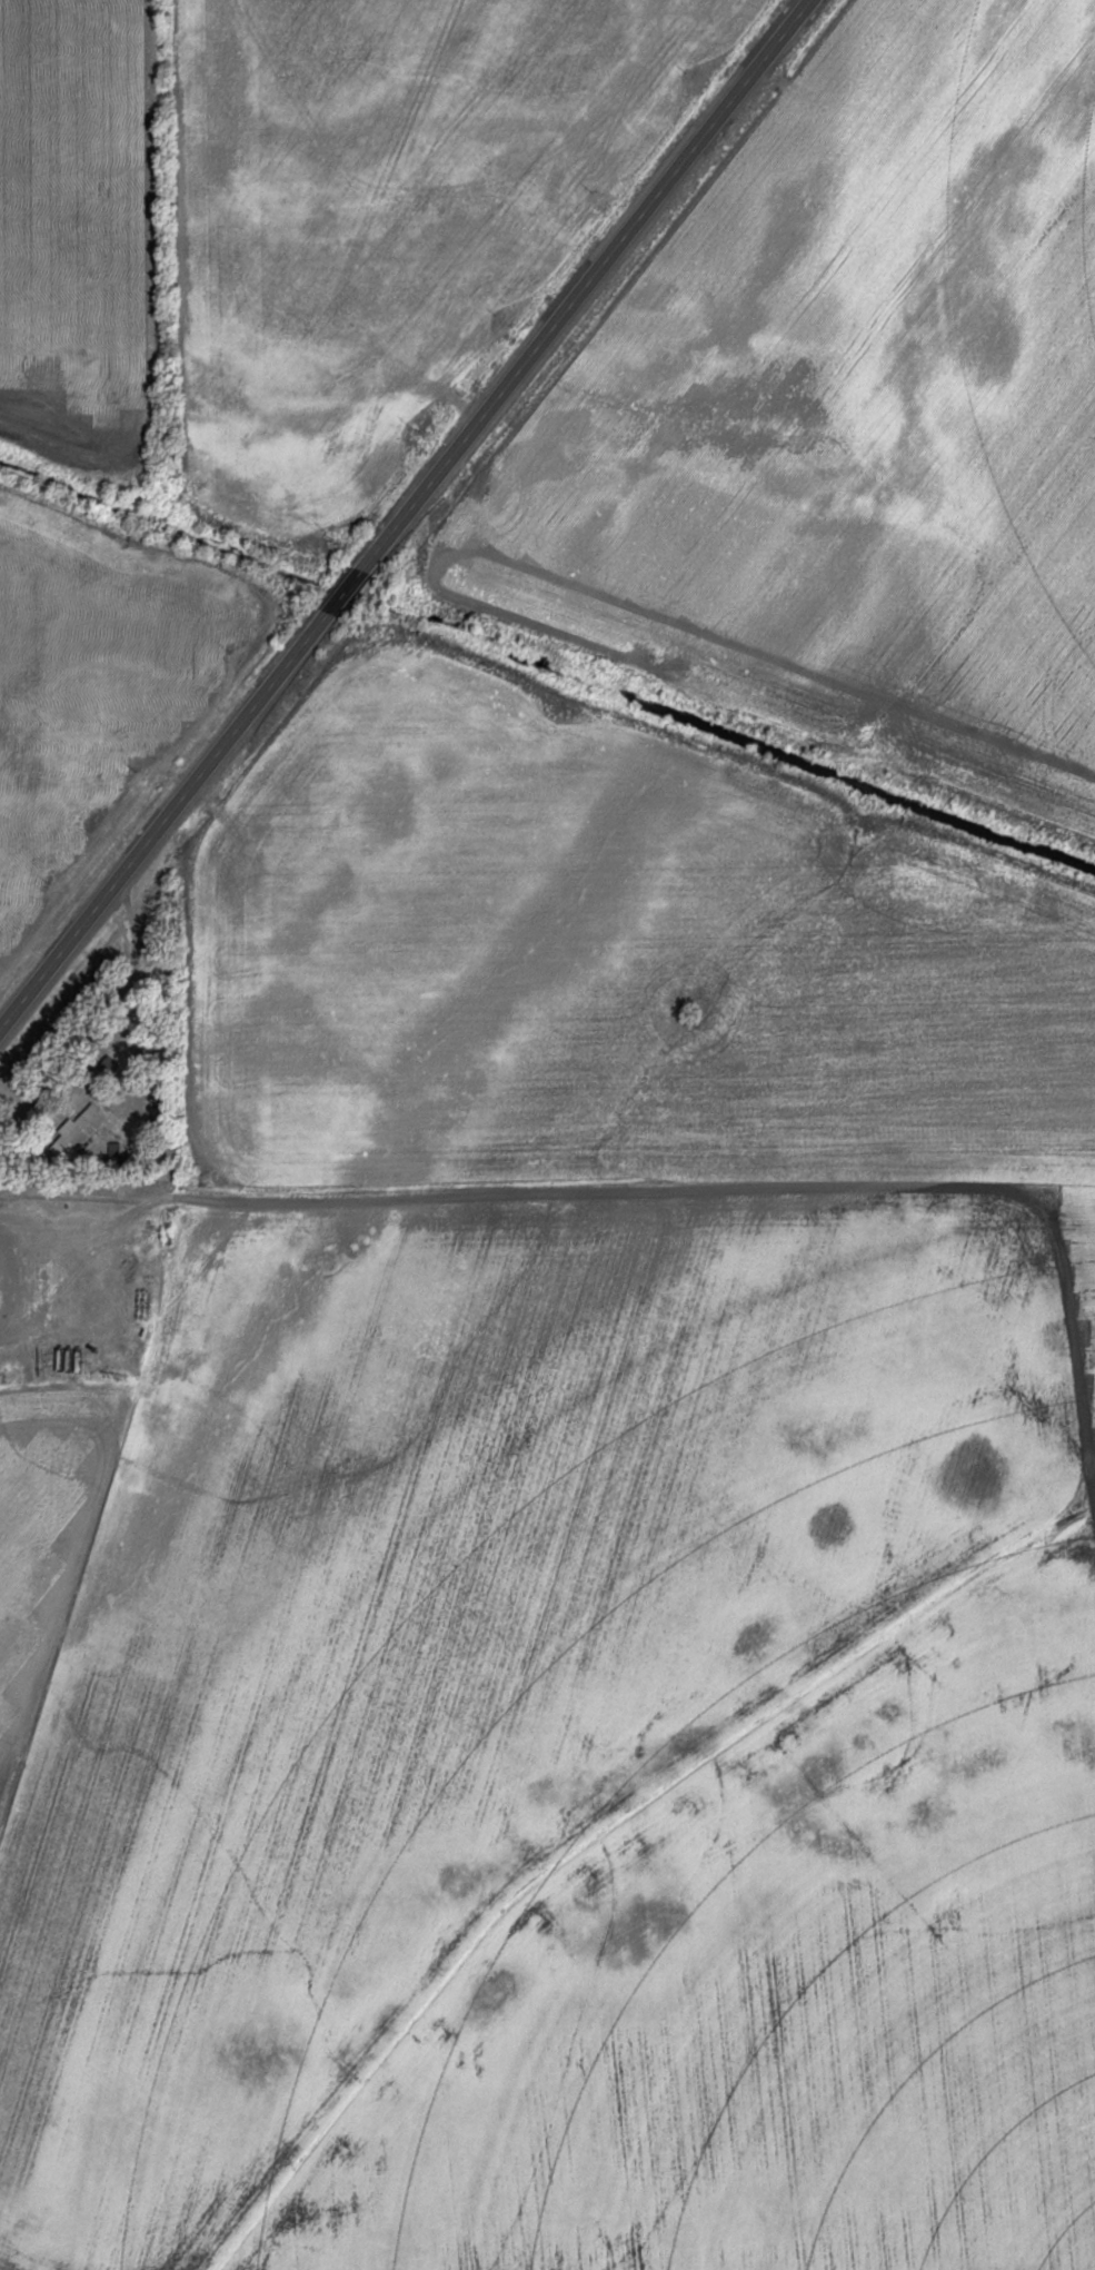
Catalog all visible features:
road: (406, 514)
building: (125, 1041)
building: (150, 1128)
building: (77, 1130)
building: (3, 1278)

